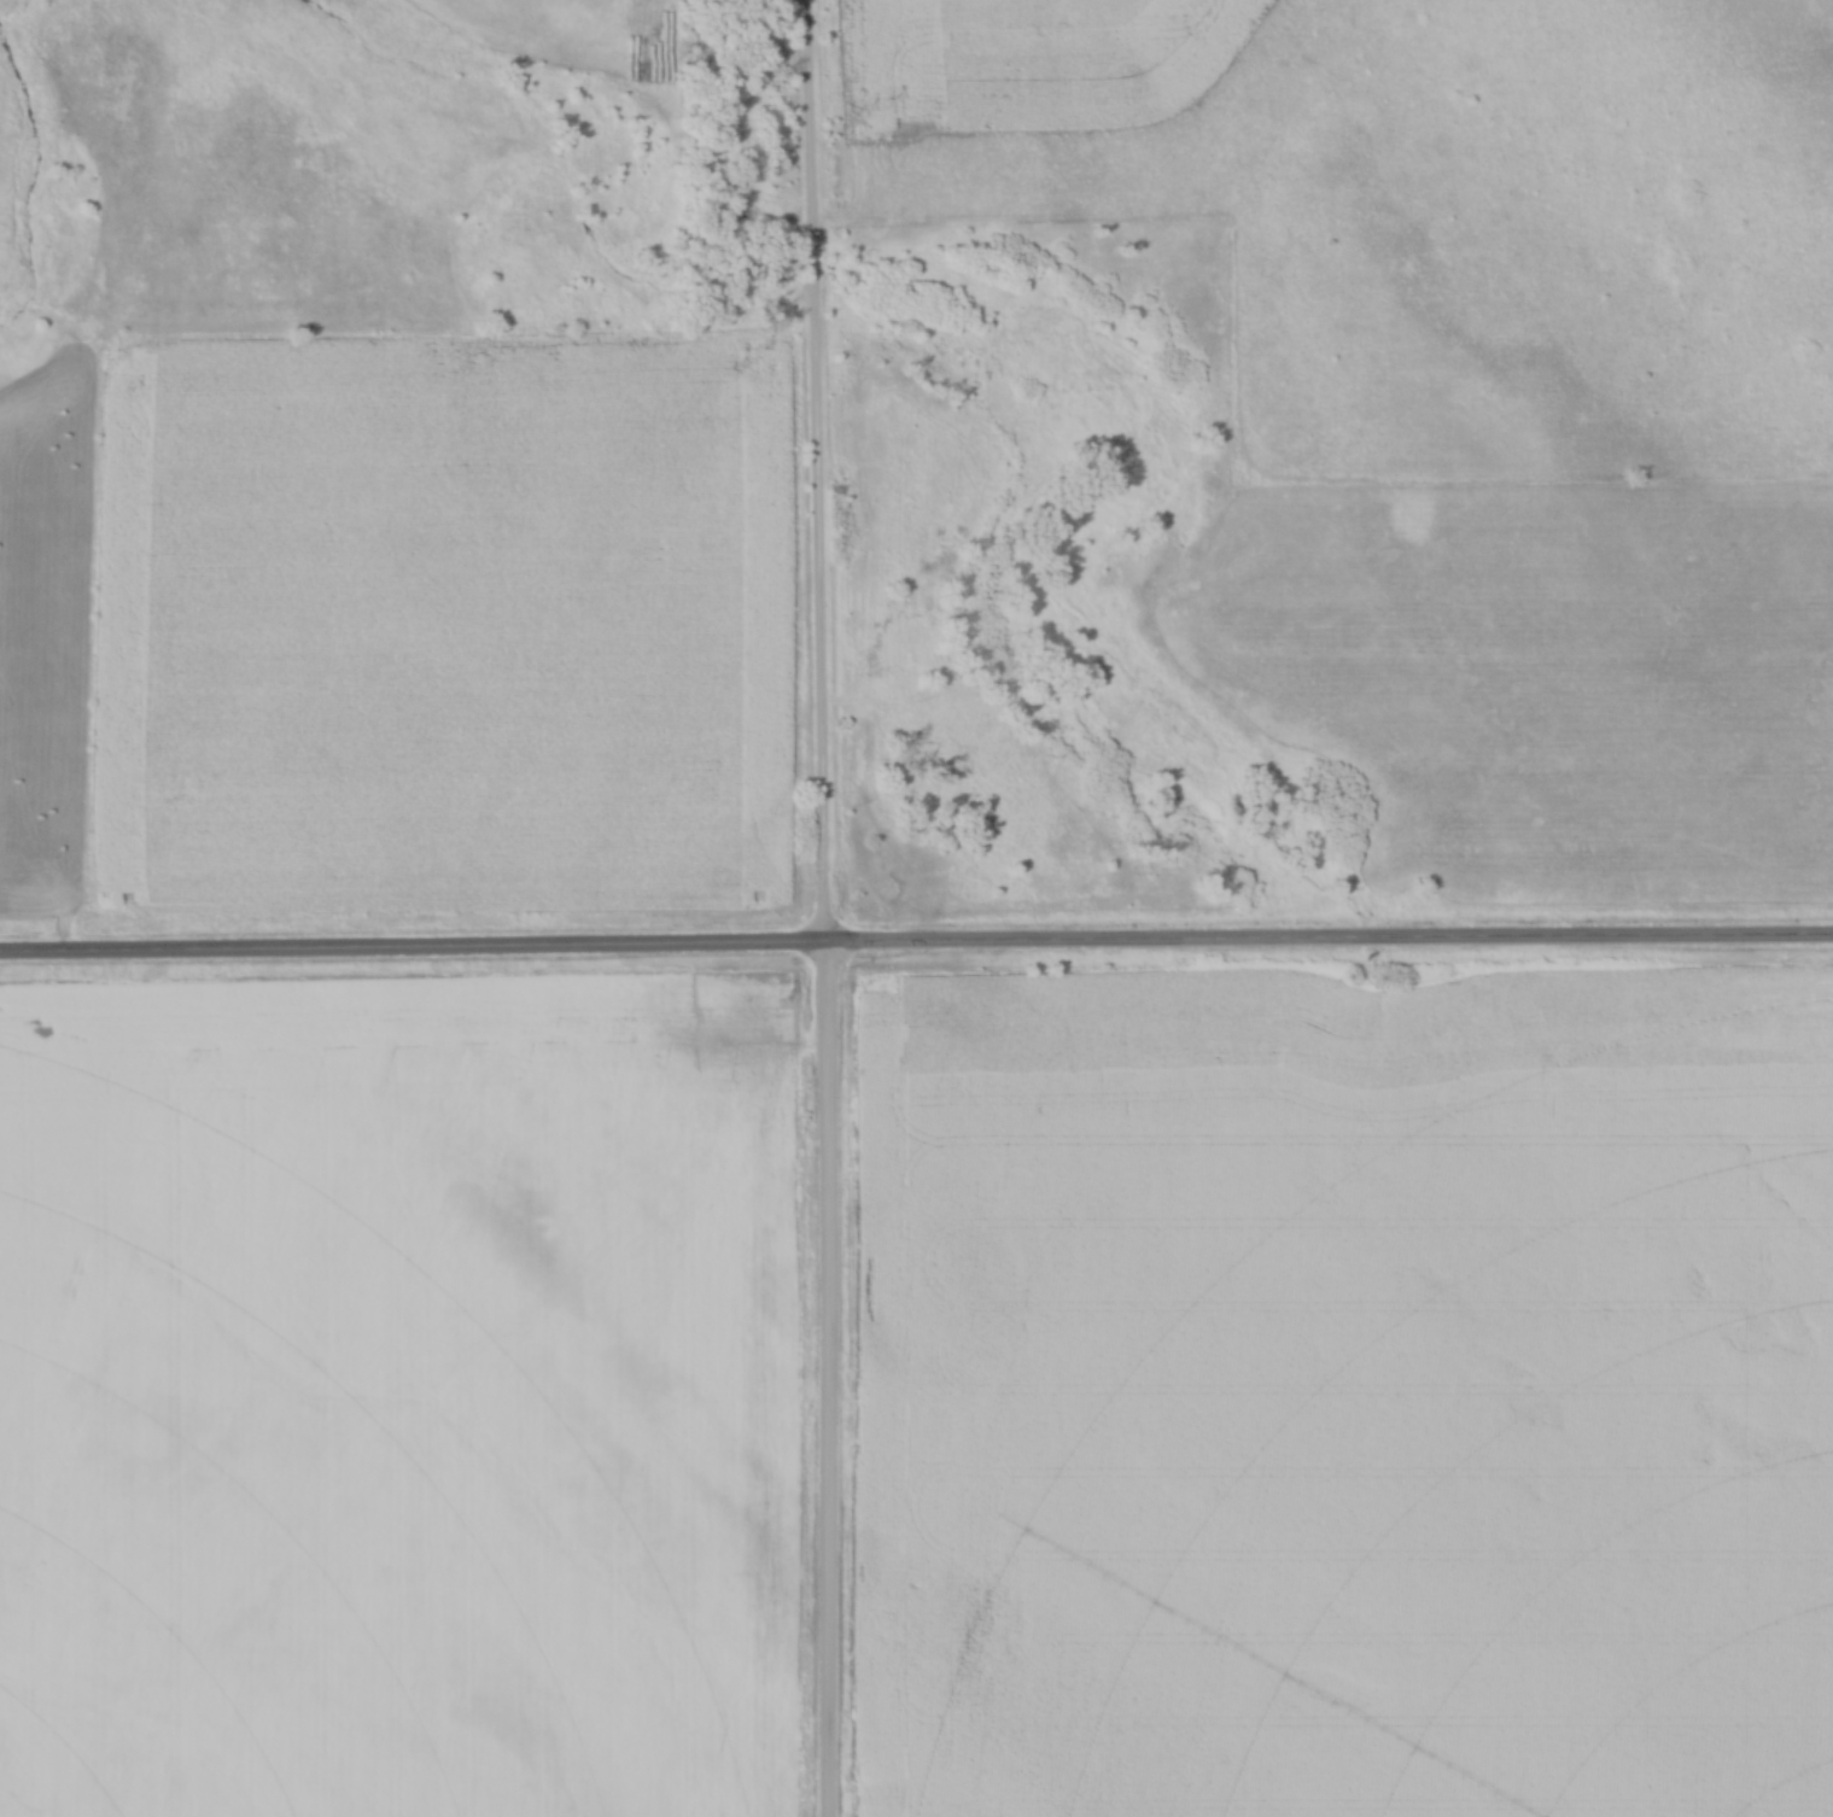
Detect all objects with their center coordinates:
building: (647, 51)
river: (33, 181)
road: (825, 907)
road: (916, 948)

